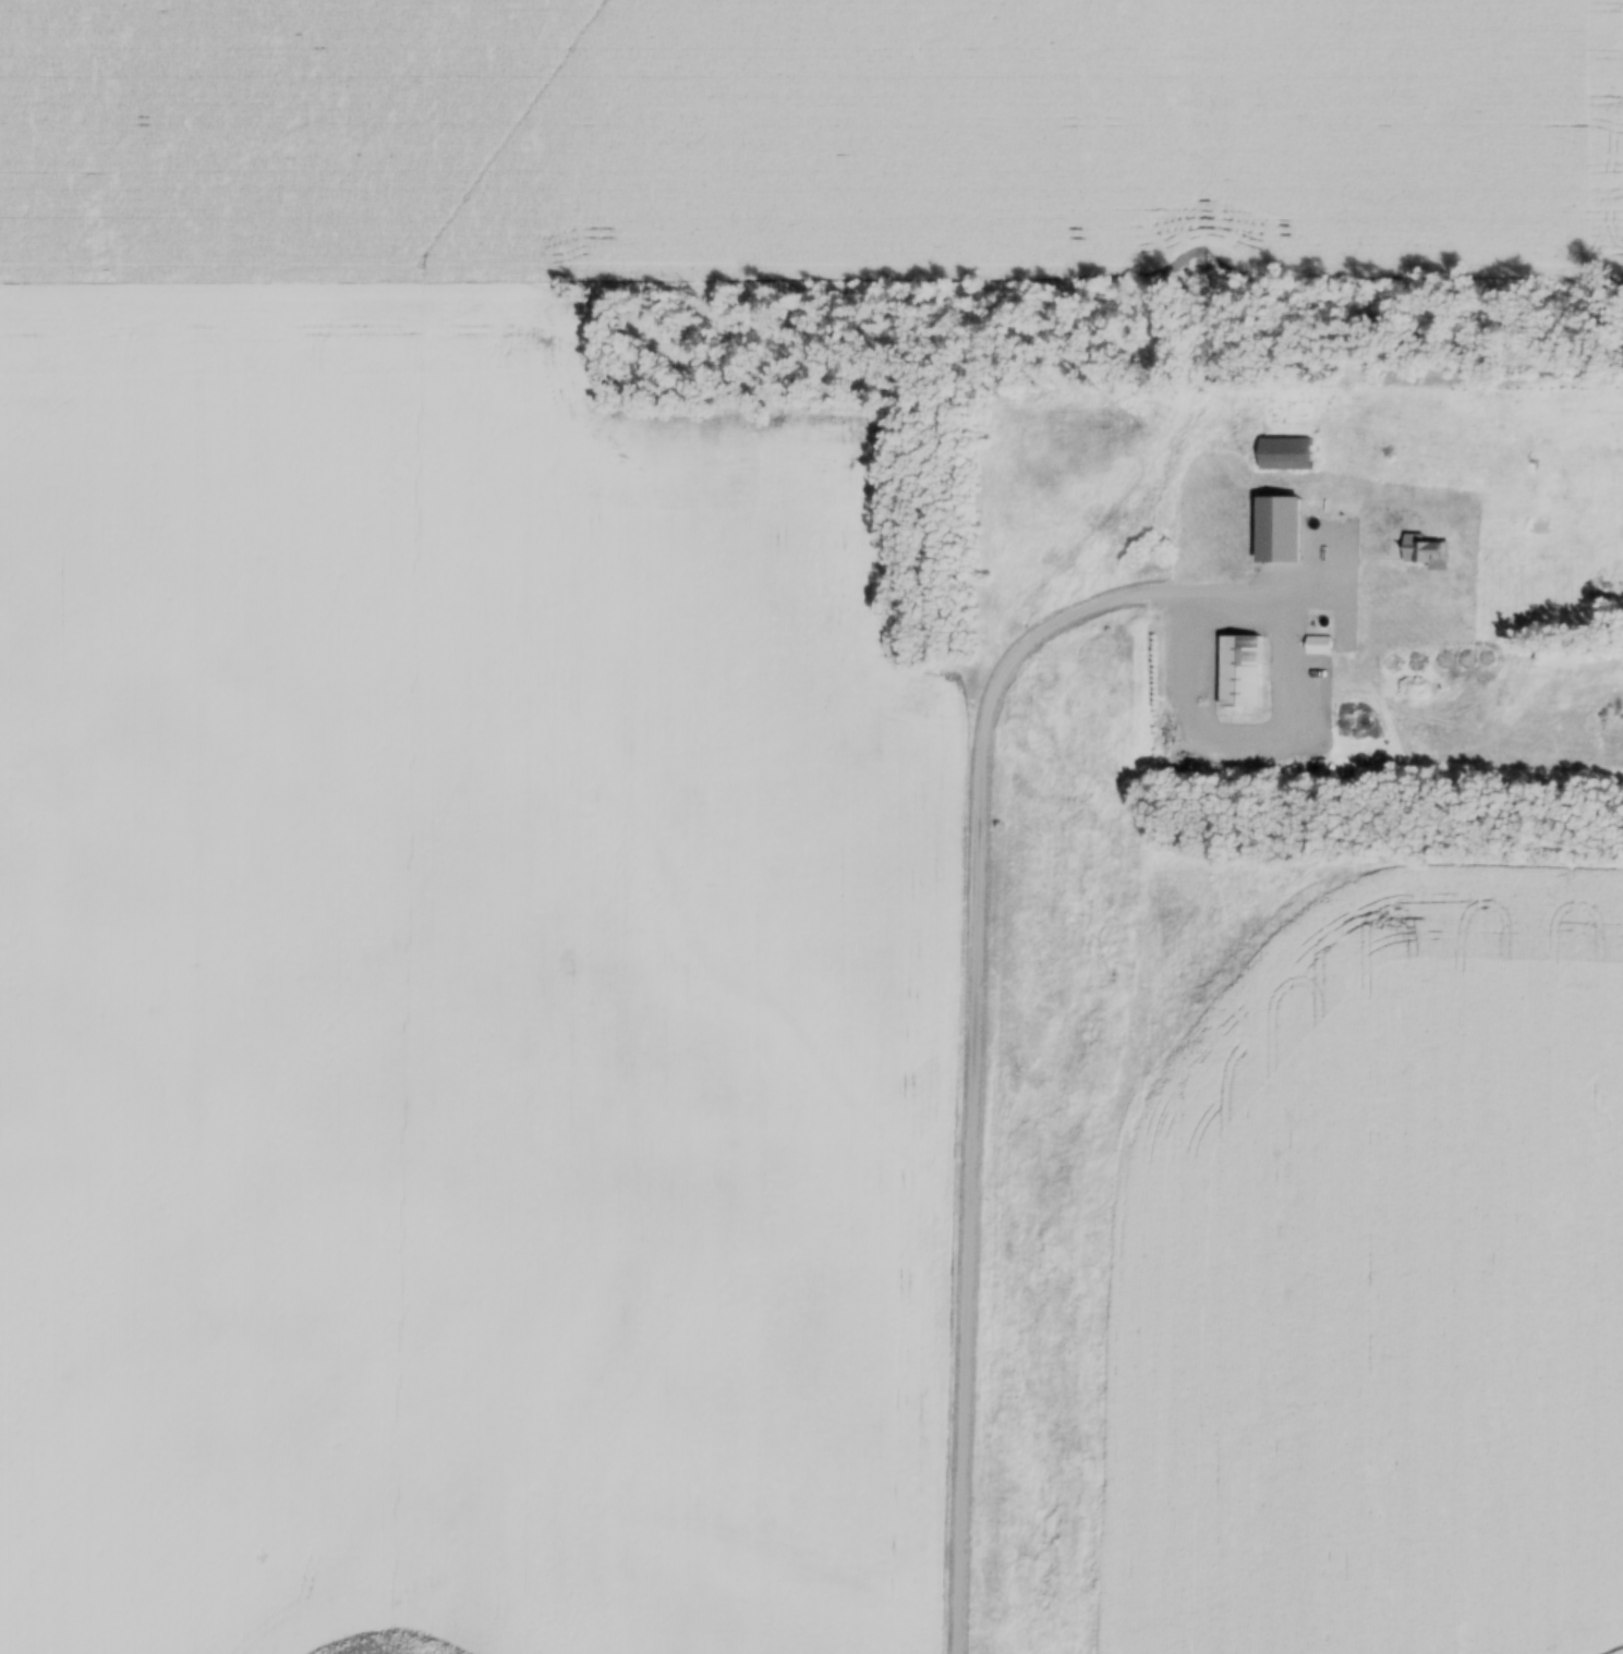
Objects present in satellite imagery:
building: (1282, 457)
building: (1243, 550)
building: (1237, 672)
road: (979, 999)

